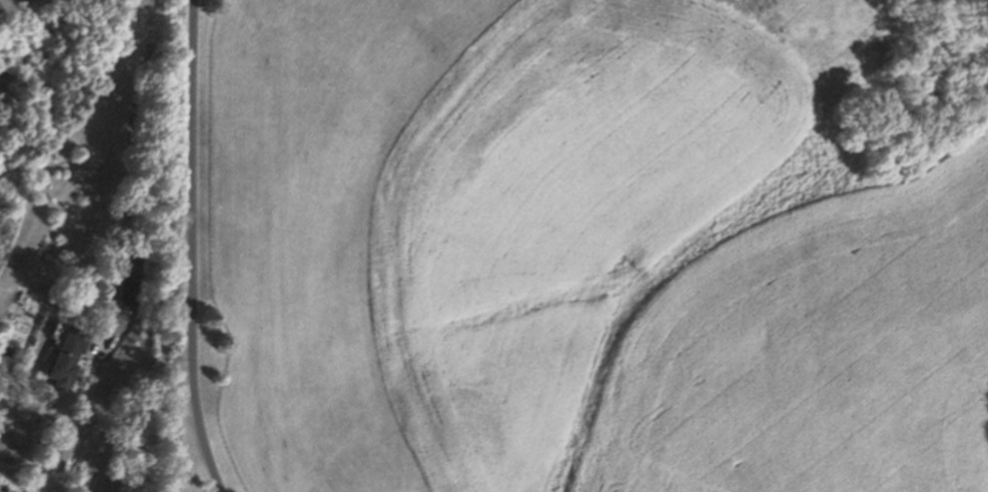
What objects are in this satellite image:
road: (10, 3)
road: (133, 125)
road: (192, 248)
building: (130, 285)
building: (68, 355)
building: (59, 450)

